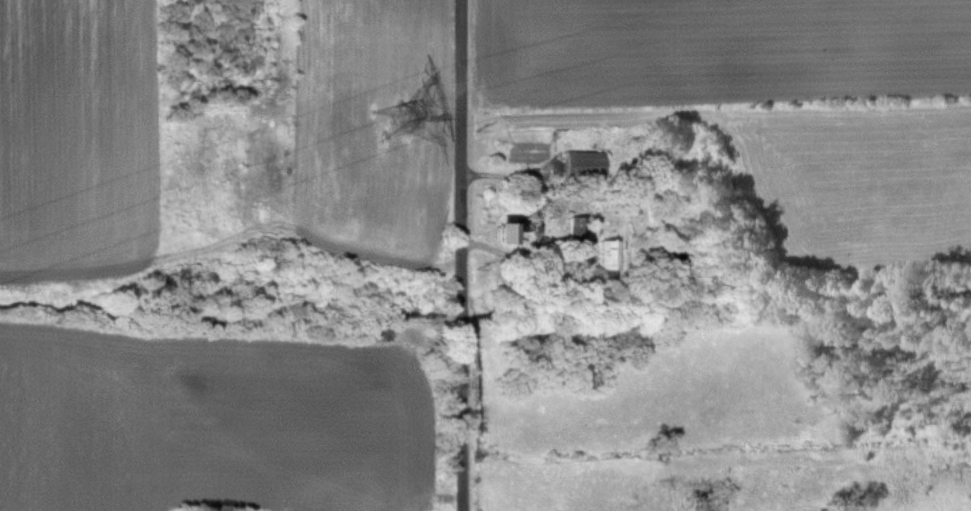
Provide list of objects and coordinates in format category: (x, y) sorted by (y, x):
power tower: (392, 124)
building: (584, 166)
building: (509, 234)
road: (465, 255)
building: (608, 255)

